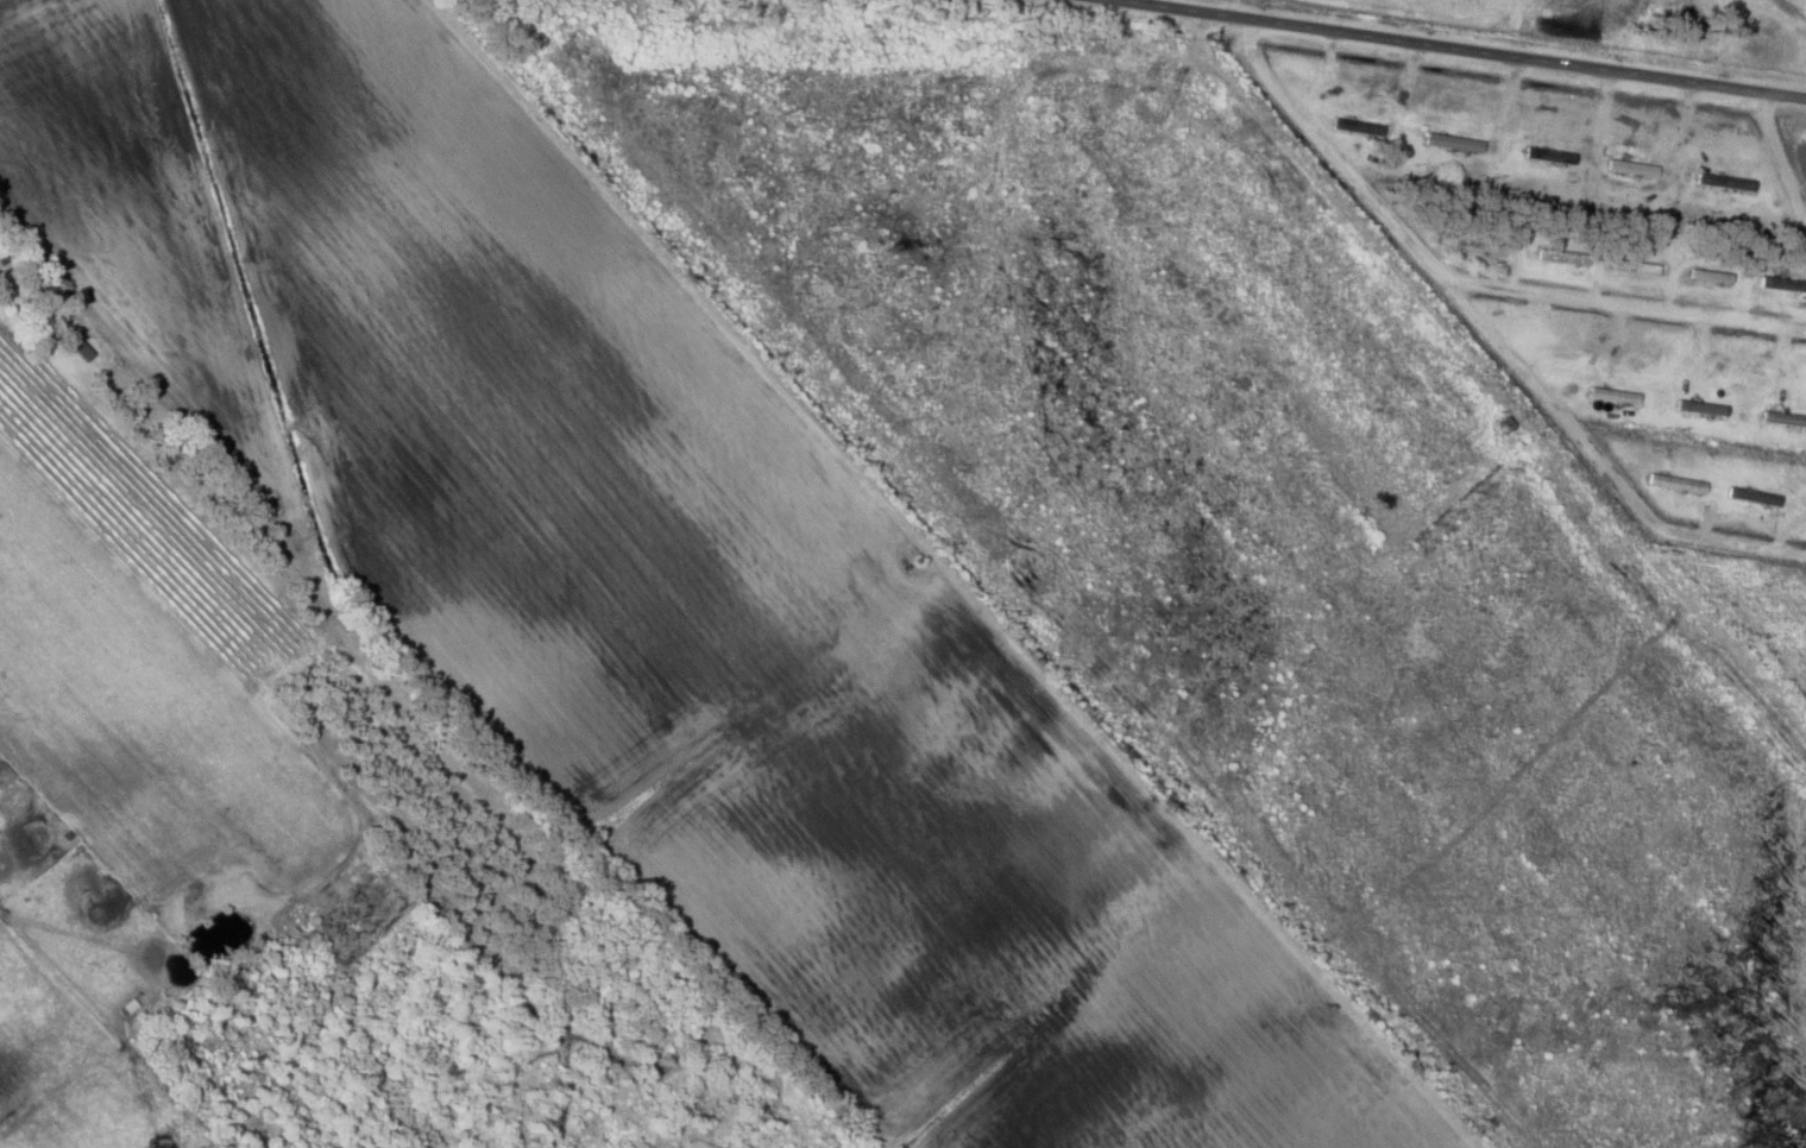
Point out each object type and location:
road: (1466, 49)
building: (1360, 127)
building: (1454, 143)
road: (1780, 156)
building: (1547, 157)
building: (1632, 169)
building: (1728, 182)
building: (1481, 246)
building: (1, 252)
building: (1563, 258)
building: (1636, 267)
building: (1711, 277)
road: (1460, 279)
building: (1783, 284)
building: (1616, 396)
building: (1703, 408)
building: (1785, 420)

